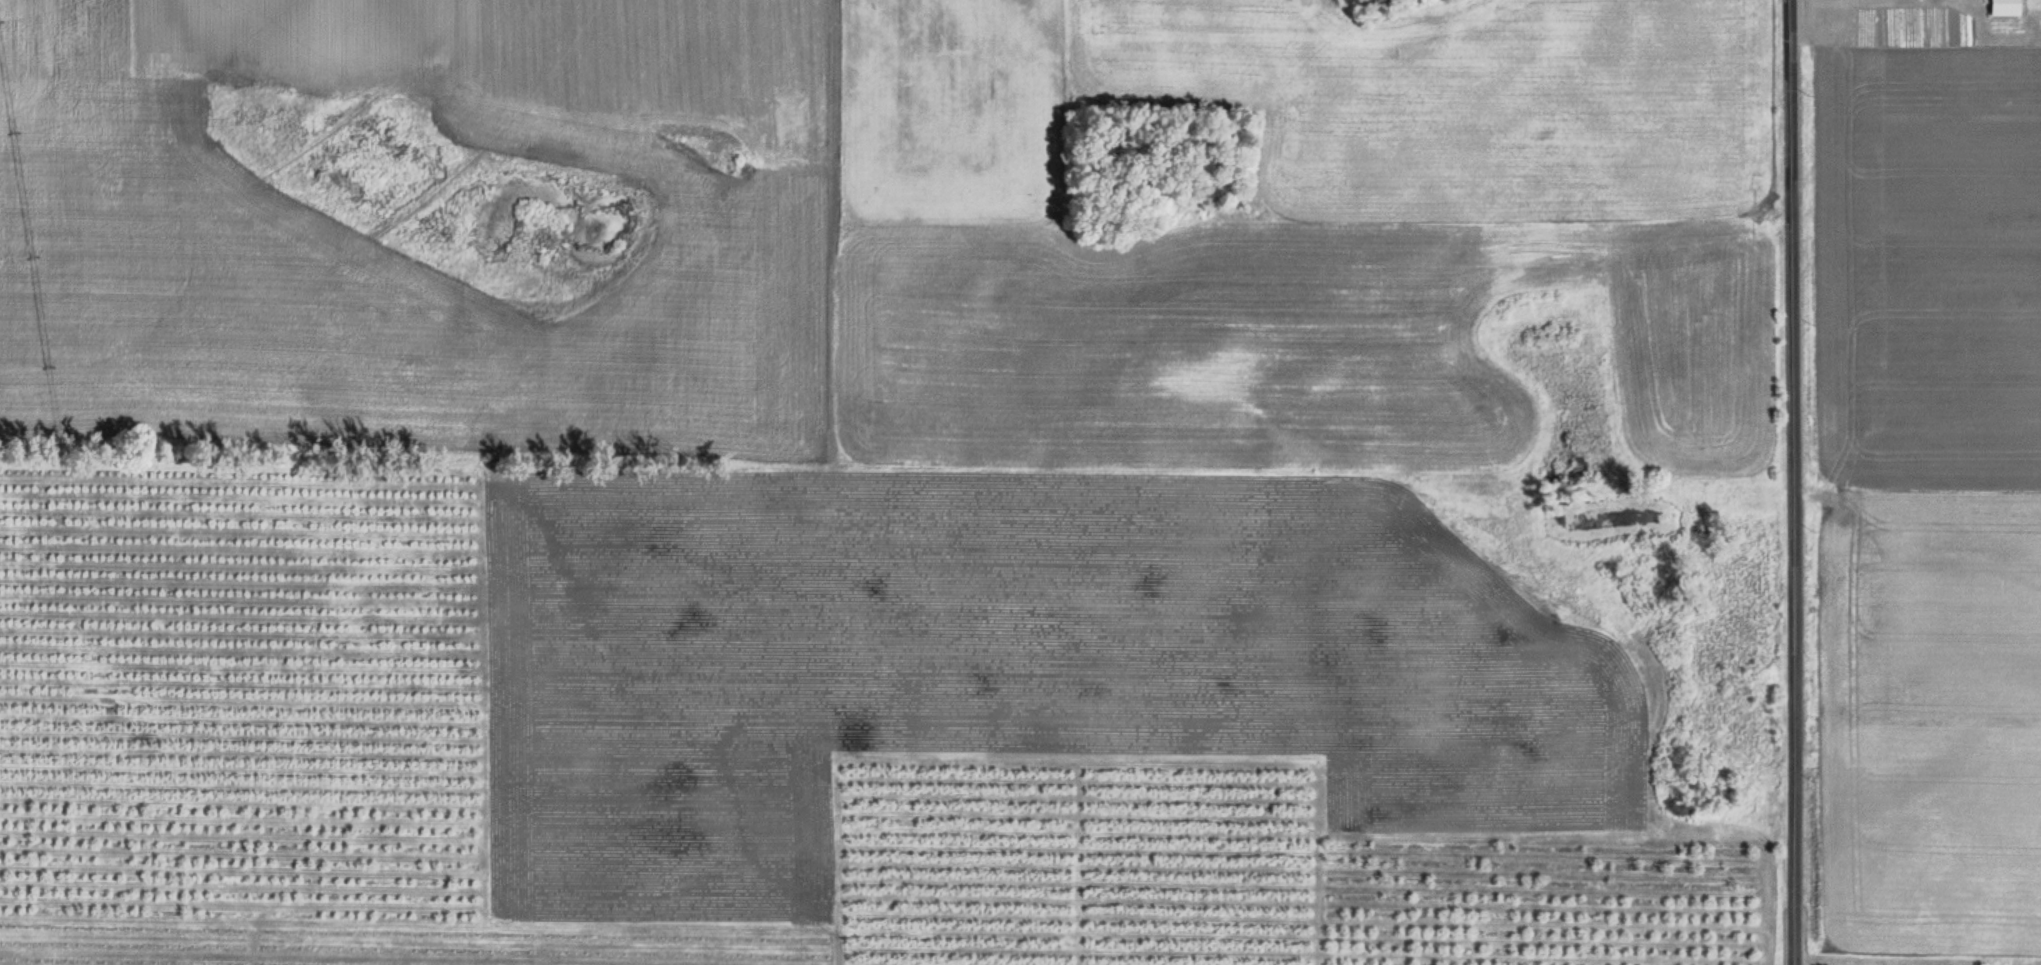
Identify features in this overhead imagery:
building: (2002, 8)
road: (1771, 482)

